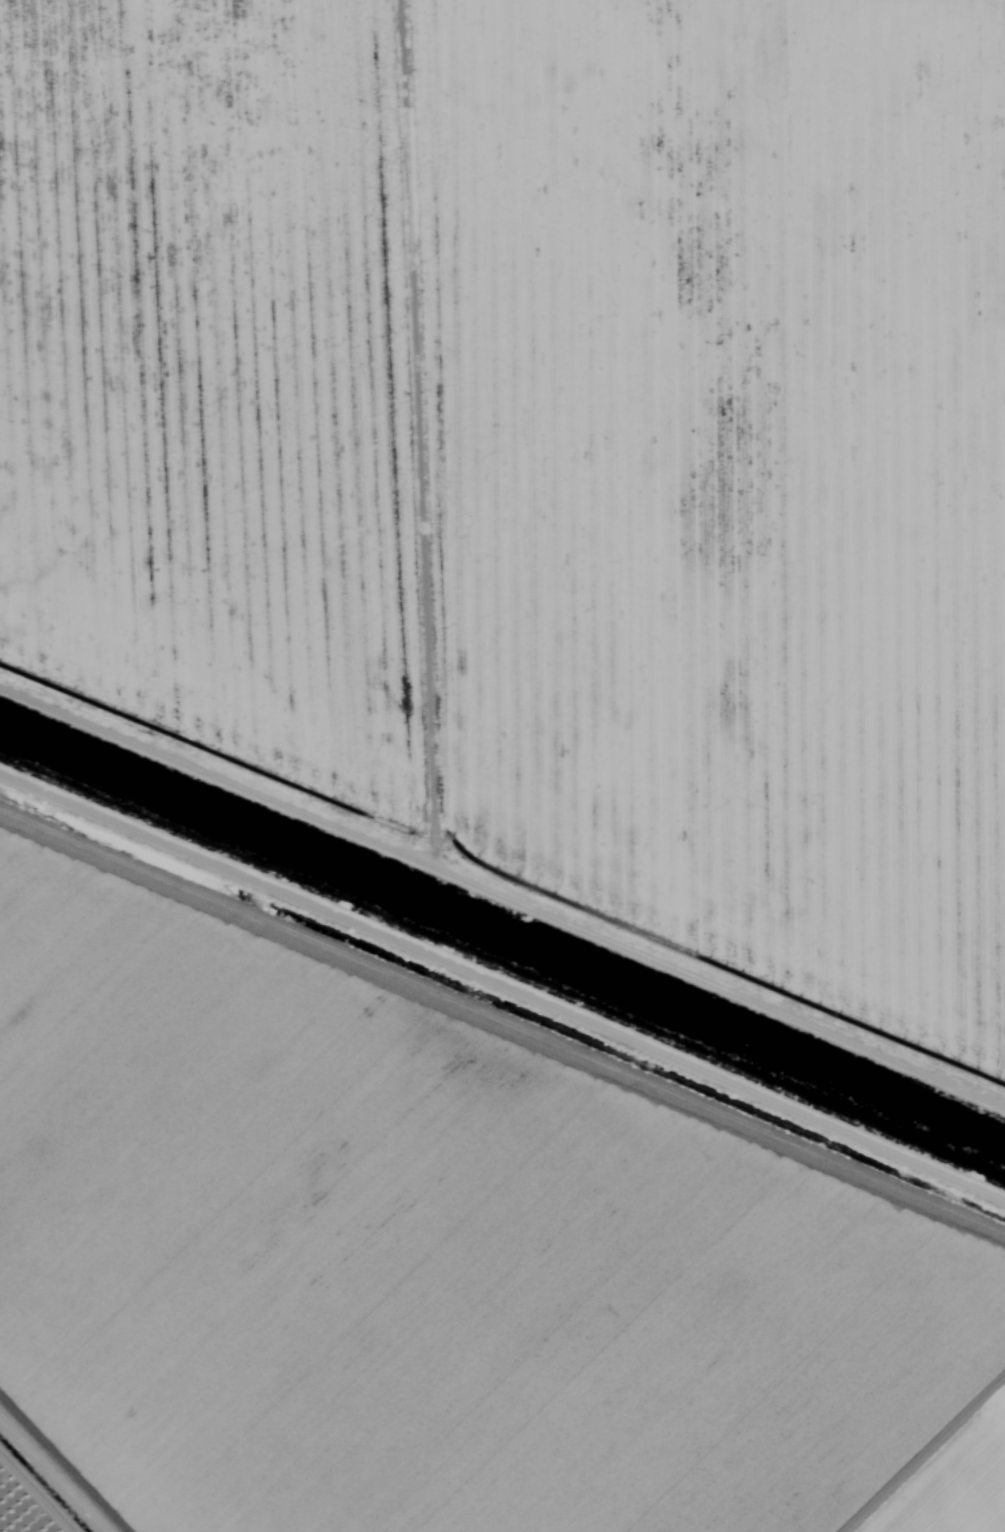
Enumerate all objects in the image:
crop: (541, 457)
road: (457, 697)
road: (227, 708)
crop: (435, 1263)
road: (70, 1457)
crop: (32, 1496)

